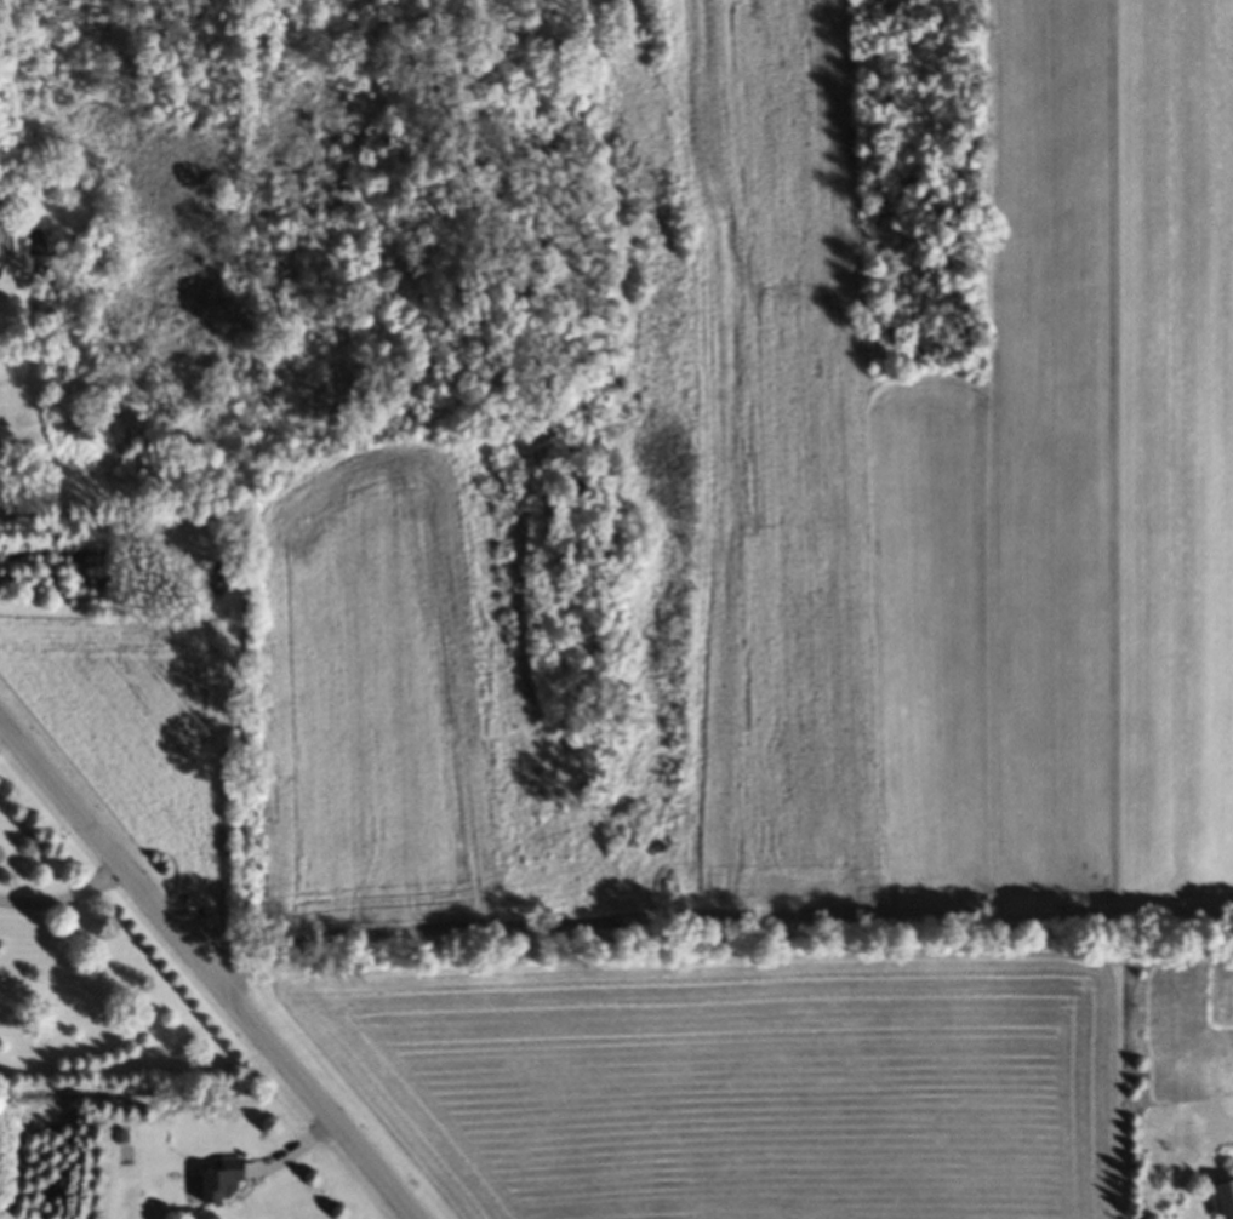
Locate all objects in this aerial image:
road: (63, 898)
road: (206, 968)
building: (223, 1187)
building: (1225, 1201)

